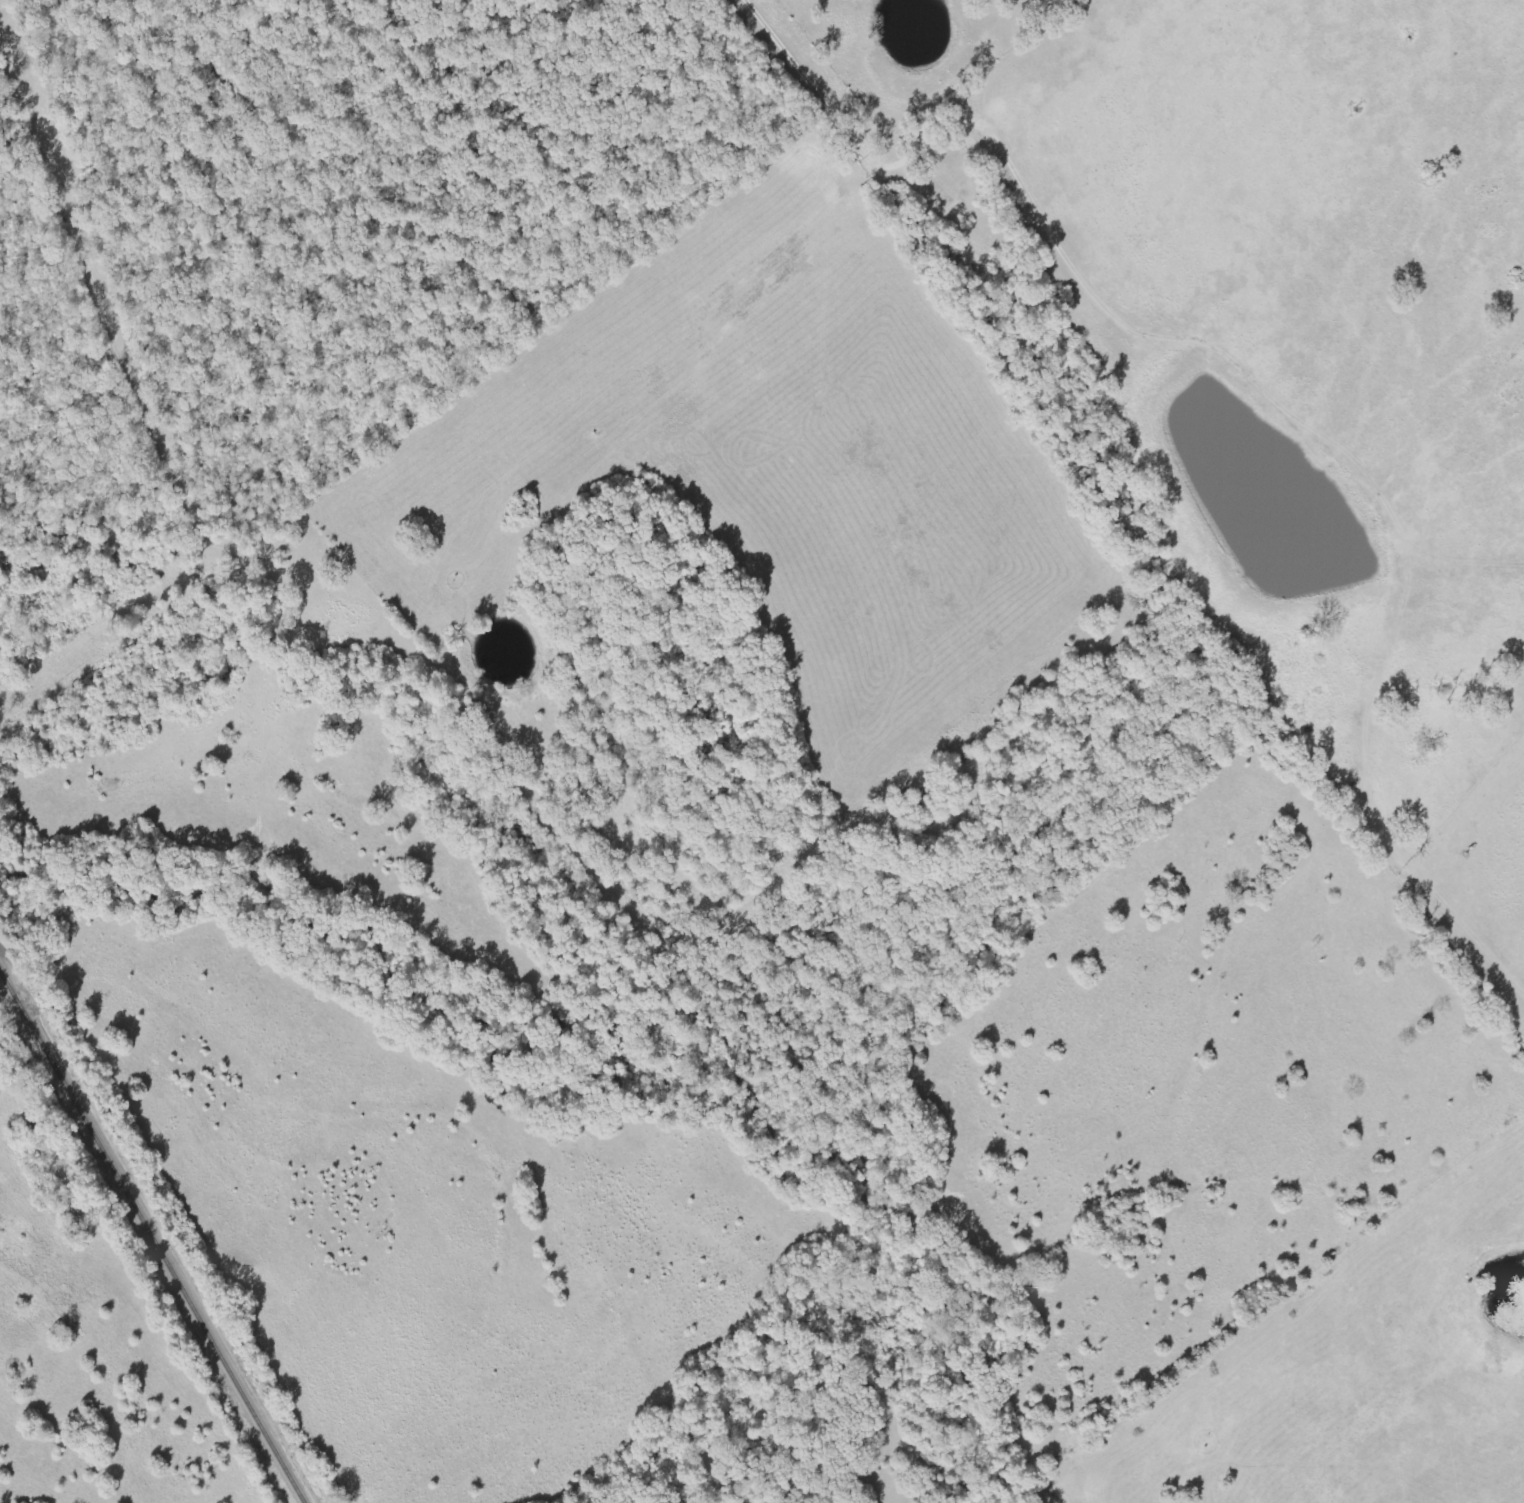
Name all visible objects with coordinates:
railway: (150, 1239)

